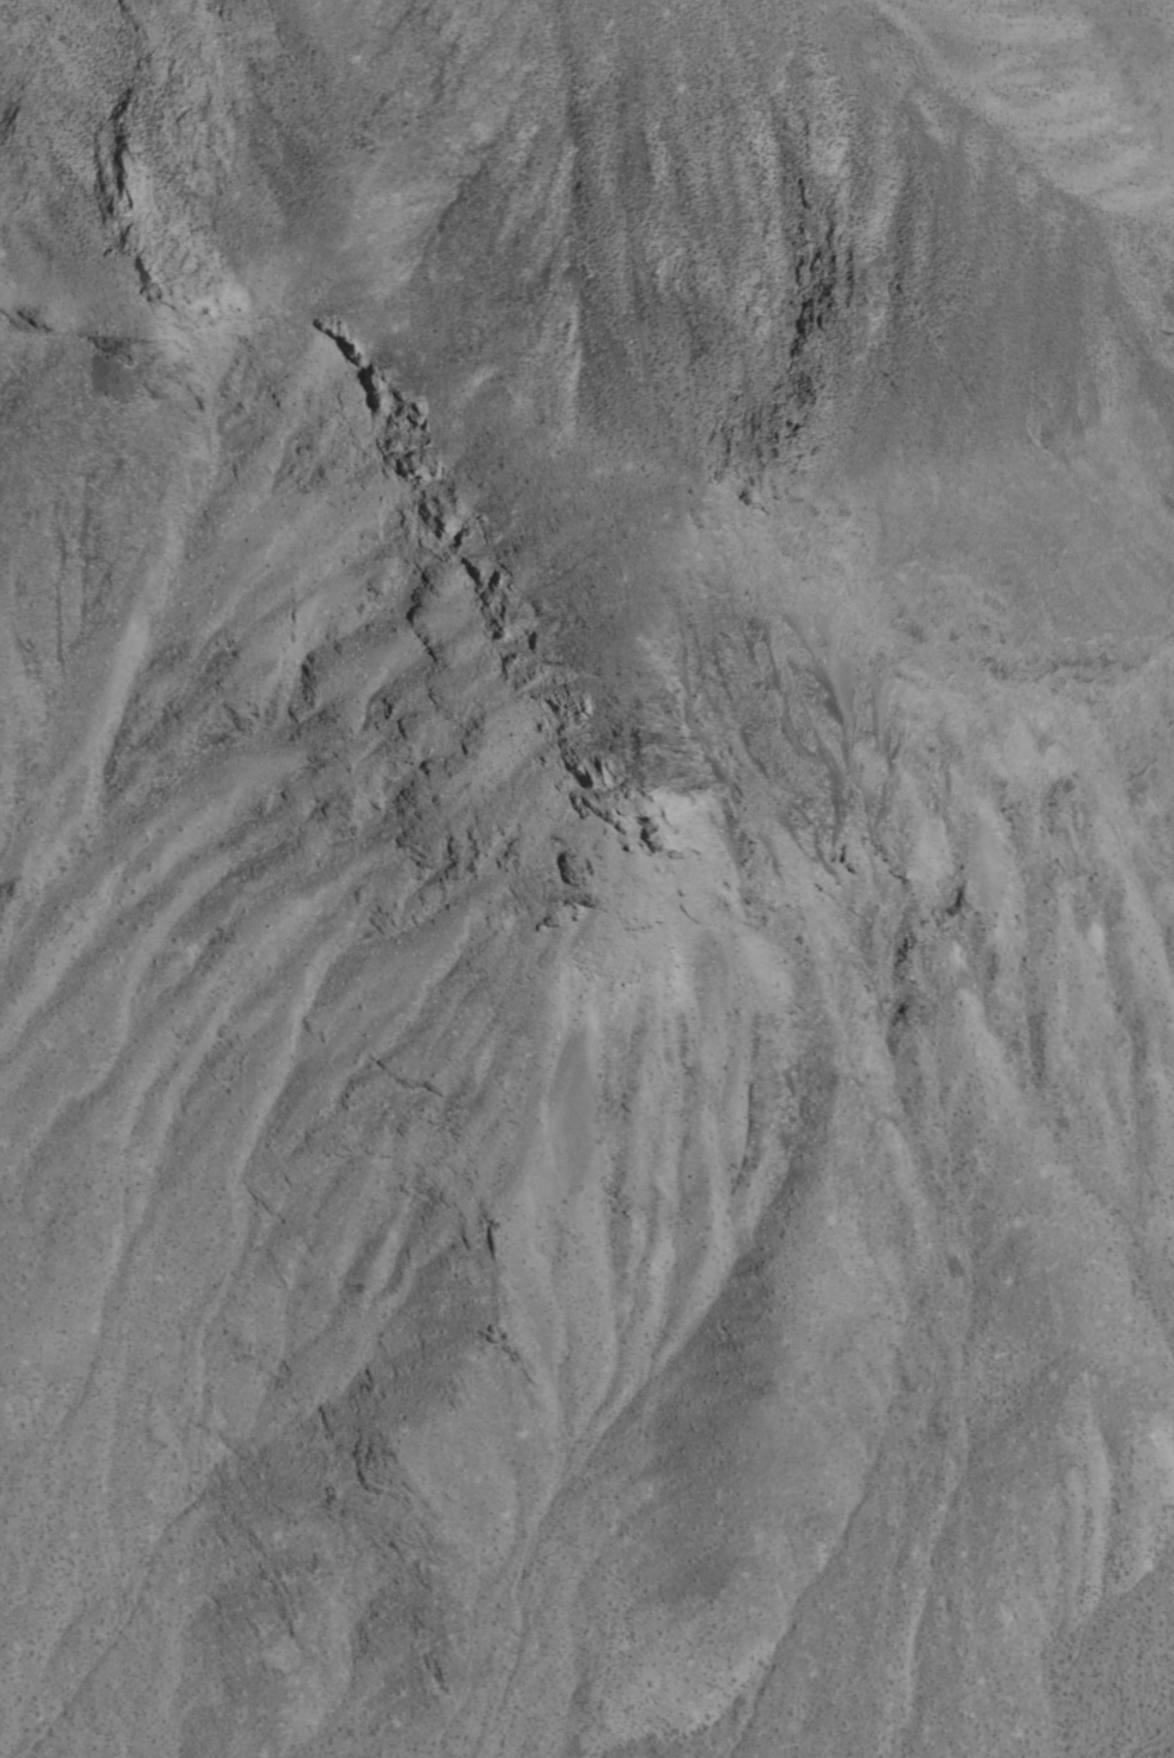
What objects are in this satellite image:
road: (1155, 1737)
road: (1155, 1749)

